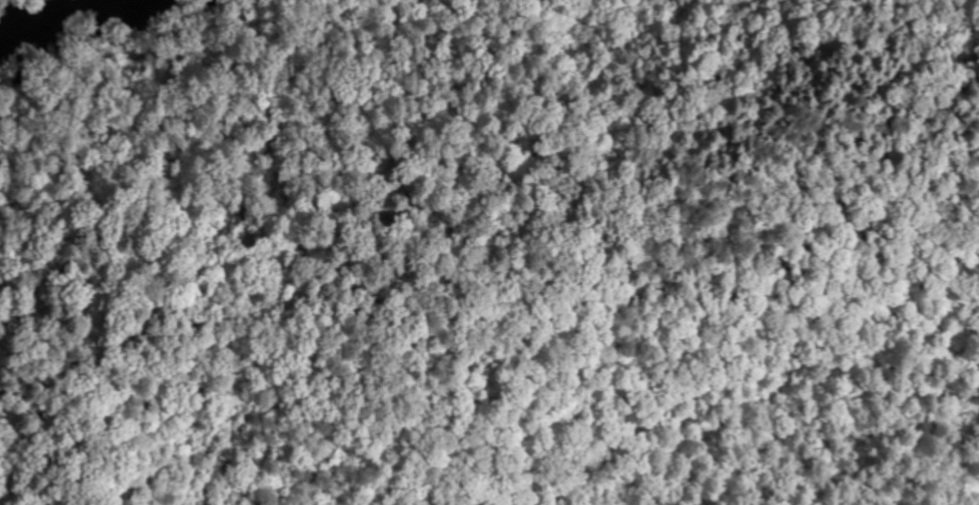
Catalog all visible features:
river: (44, 18)

